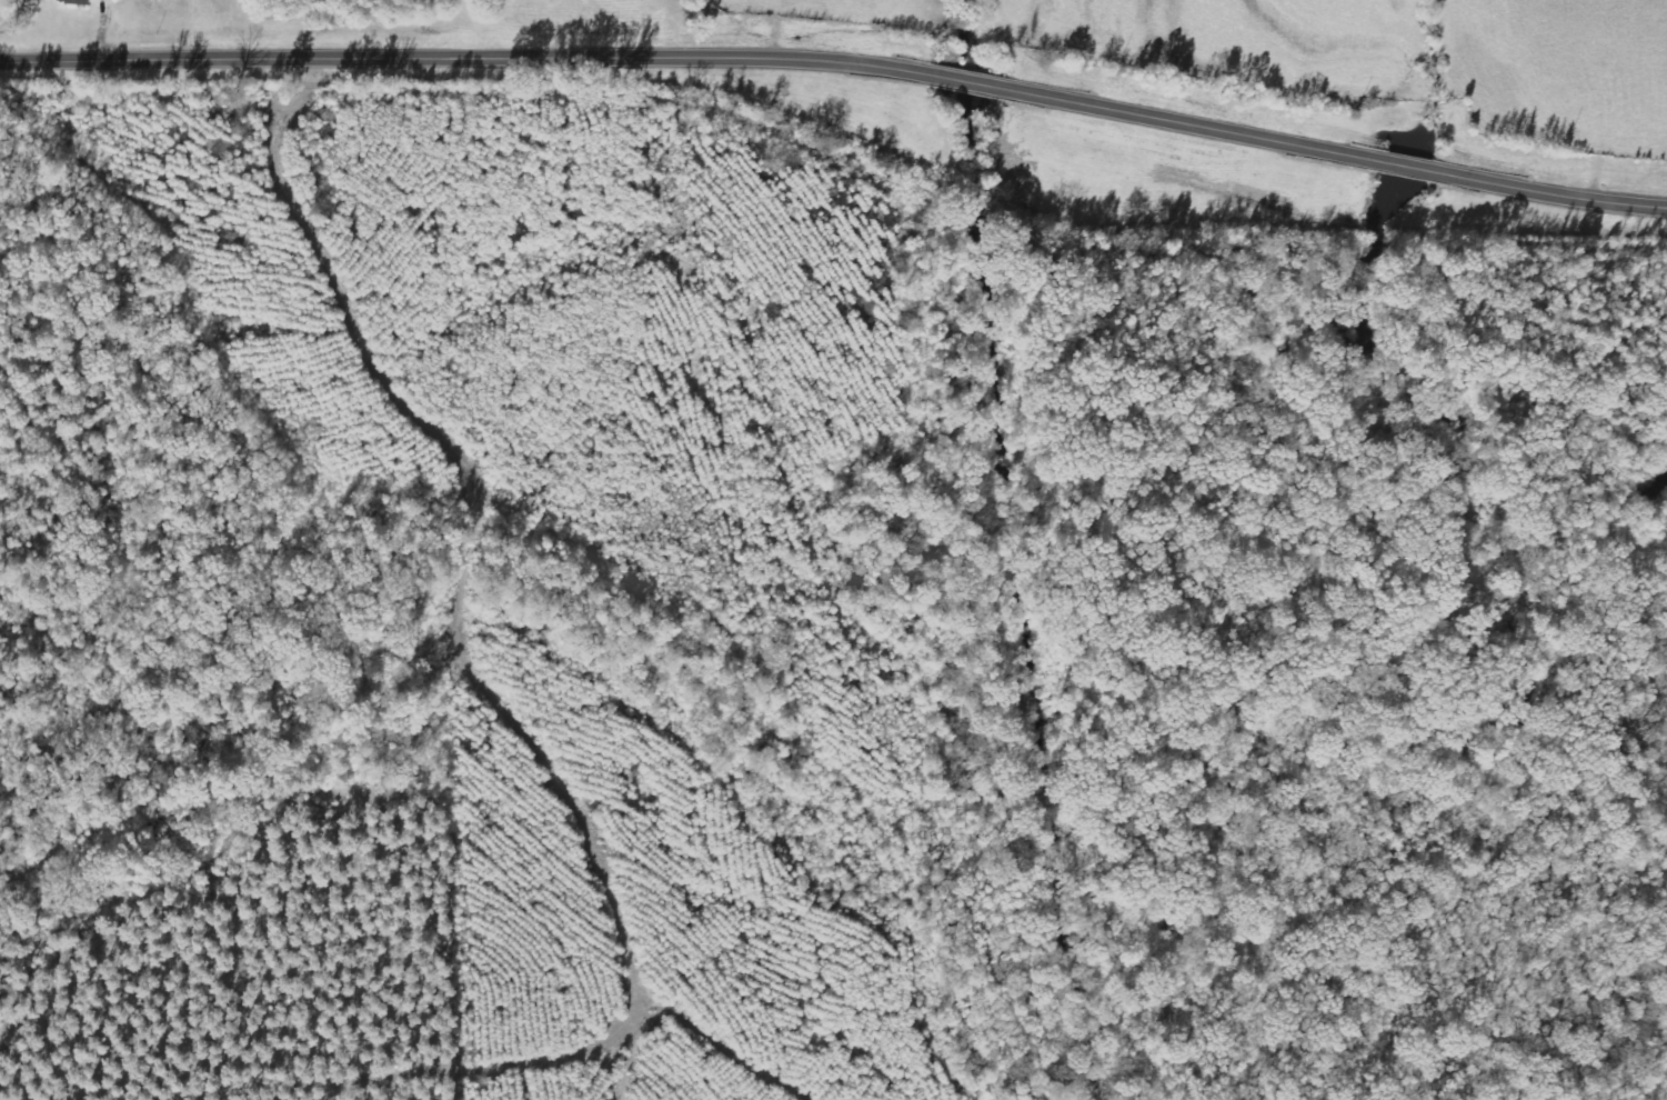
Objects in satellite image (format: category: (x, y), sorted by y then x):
building: (69, 2)
road: (840, 63)

